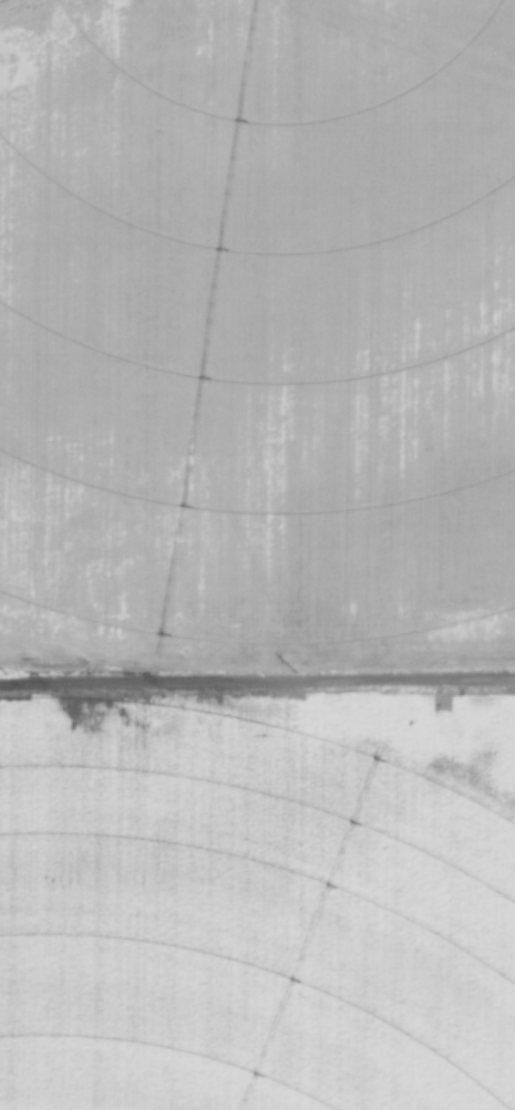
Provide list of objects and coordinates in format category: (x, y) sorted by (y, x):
road: (257, 676)

